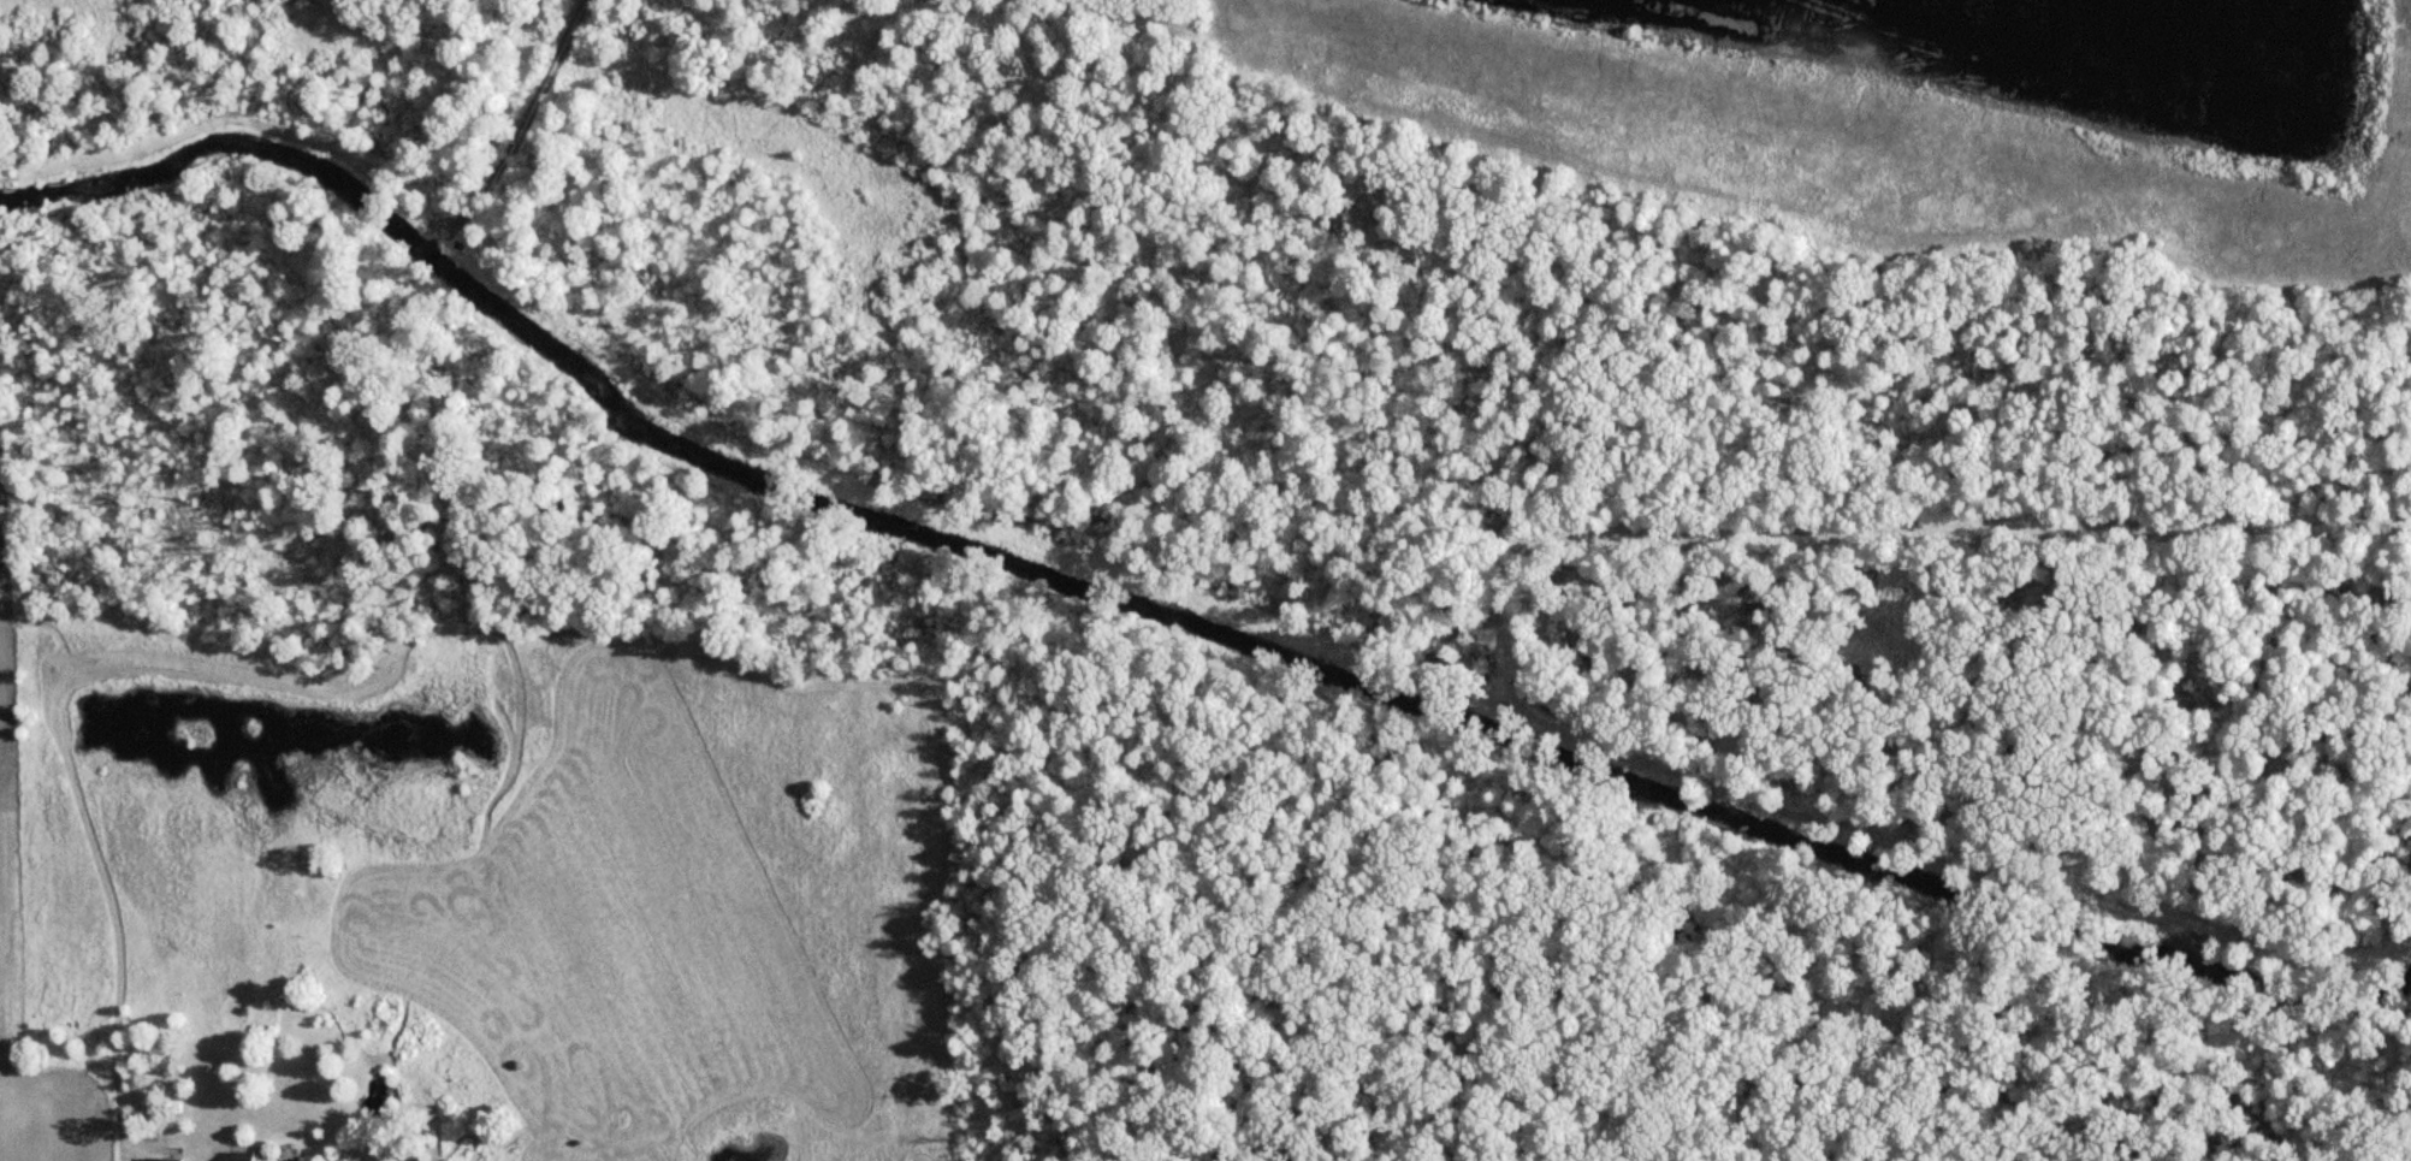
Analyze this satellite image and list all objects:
river: (1168, 620)
crop: (6, 824)
building: (244, 1155)
building: (162, 1159)

